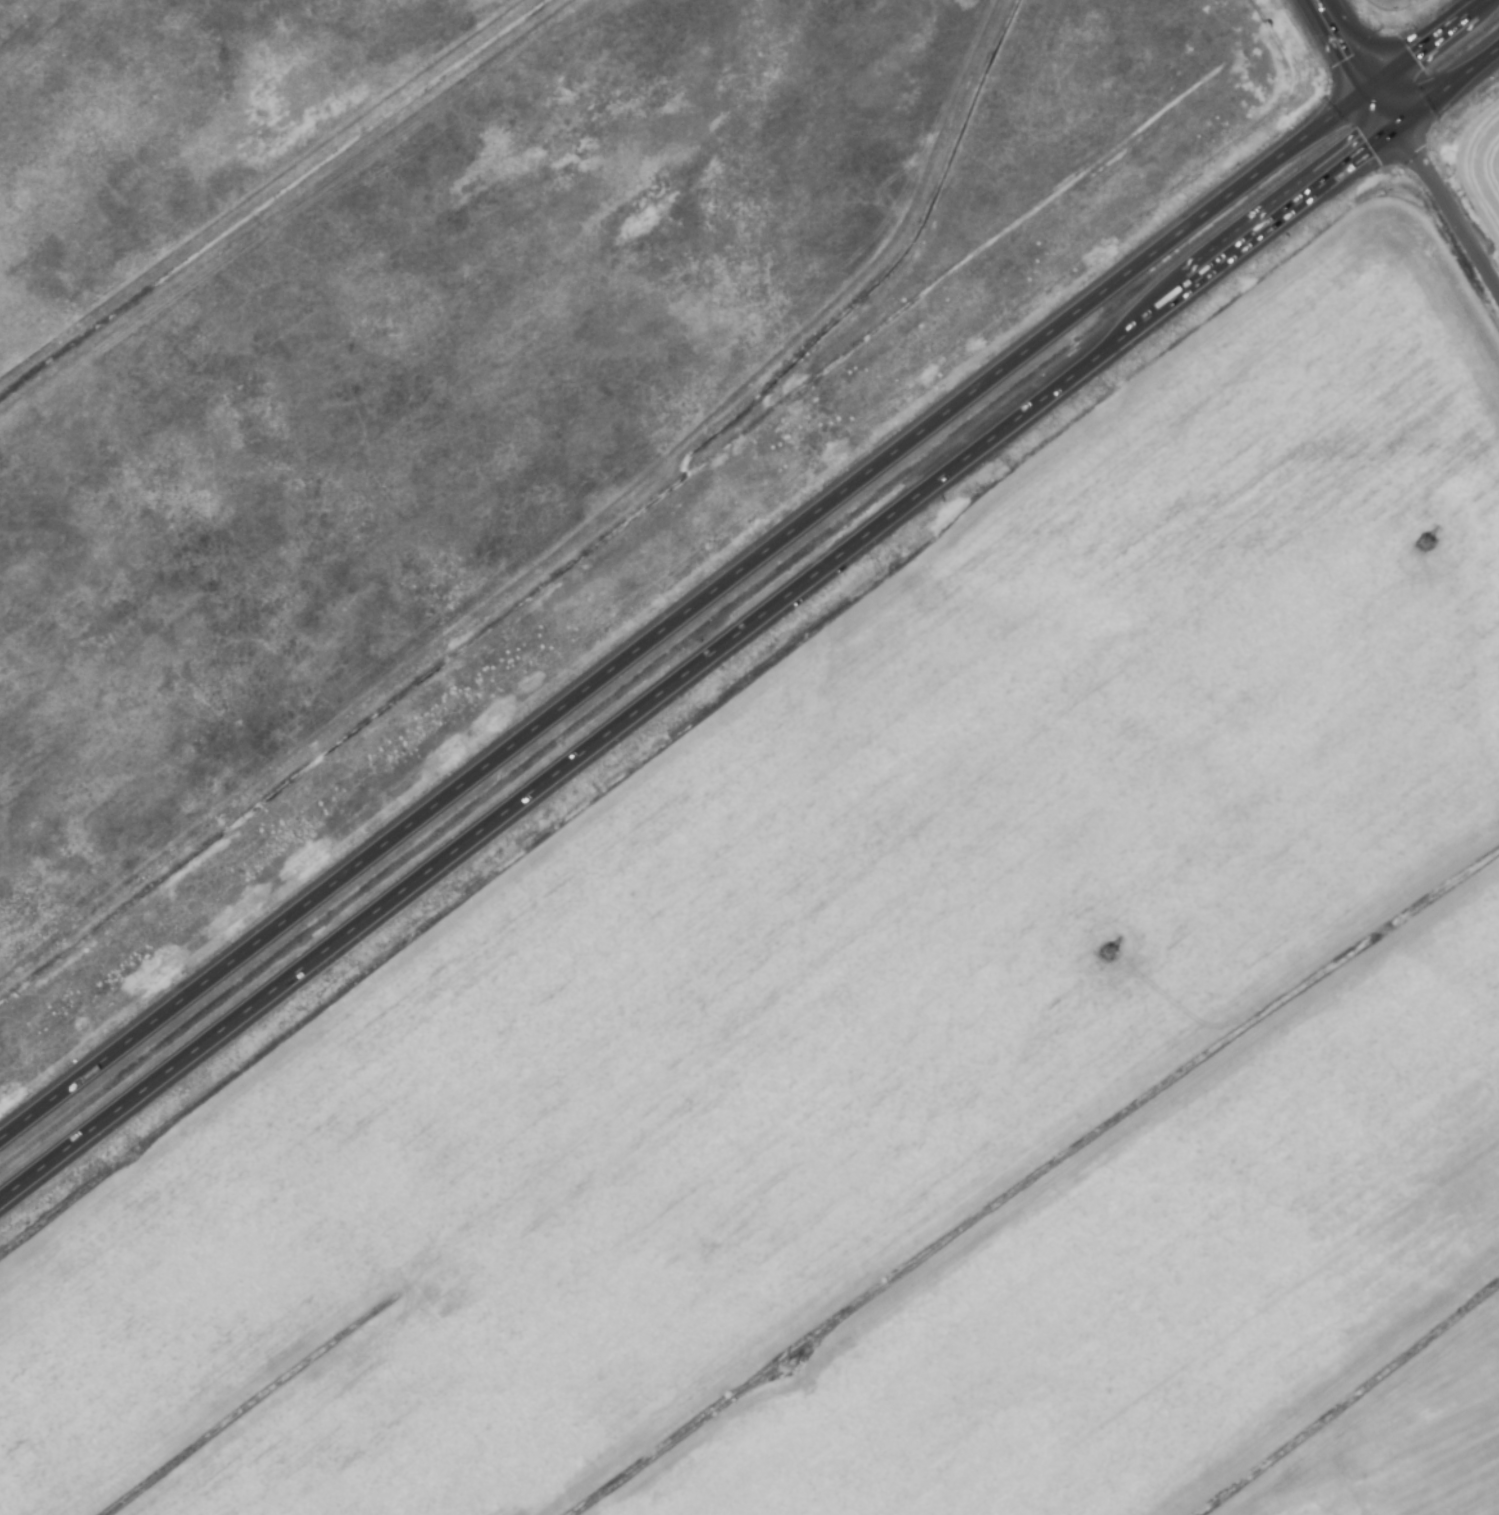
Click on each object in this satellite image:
road: (1426, 46)
road: (1336, 47)
road: (1445, 90)
traffic signals: (1366, 93)
road: (1379, 112)
traffic signals: (1392, 131)
road: (1446, 218)
road: (1125, 336)
power tower: (1422, 548)
road: (682, 615)
road: (429, 871)
power tower: (1113, 953)
power tower: (794, 1369)

